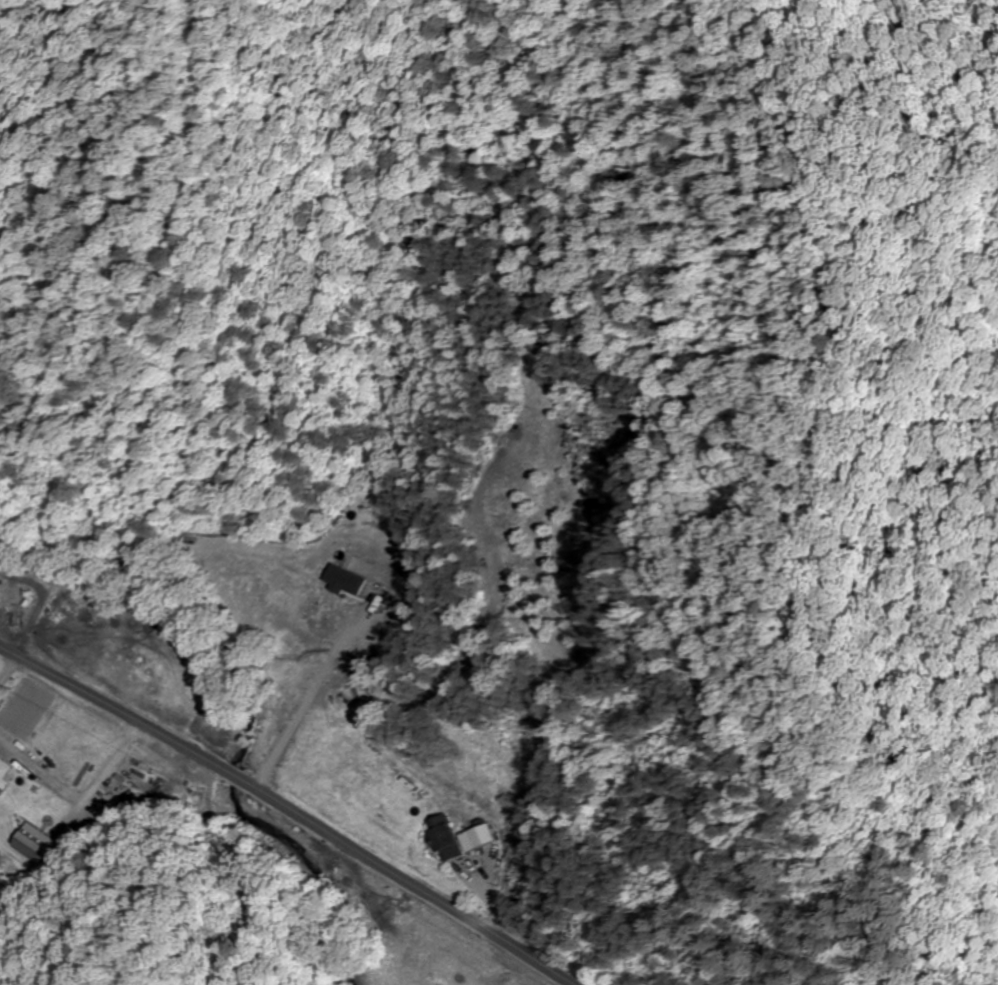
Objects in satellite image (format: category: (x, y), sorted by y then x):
building: (7, 771)
road: (282, 812)
building: (462, 838)
building: (35, 849)

